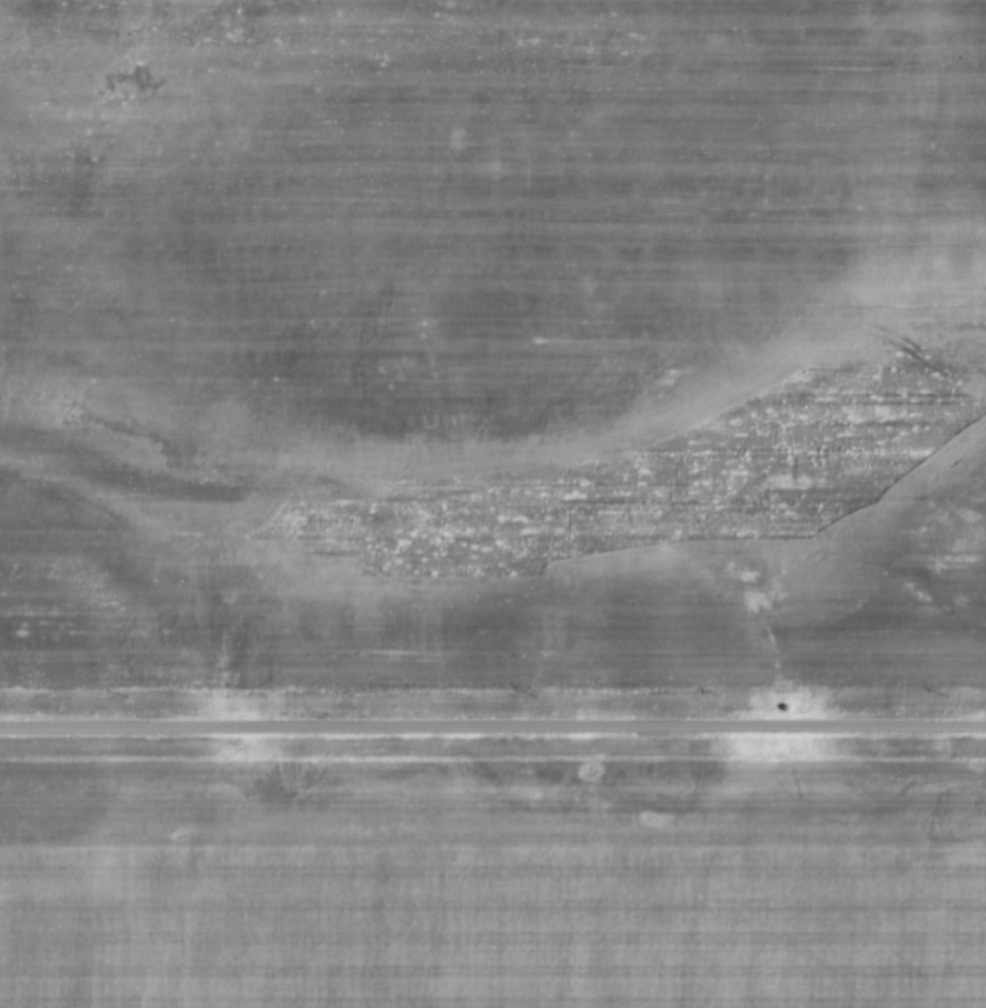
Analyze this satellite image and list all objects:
road: (493, 728)

